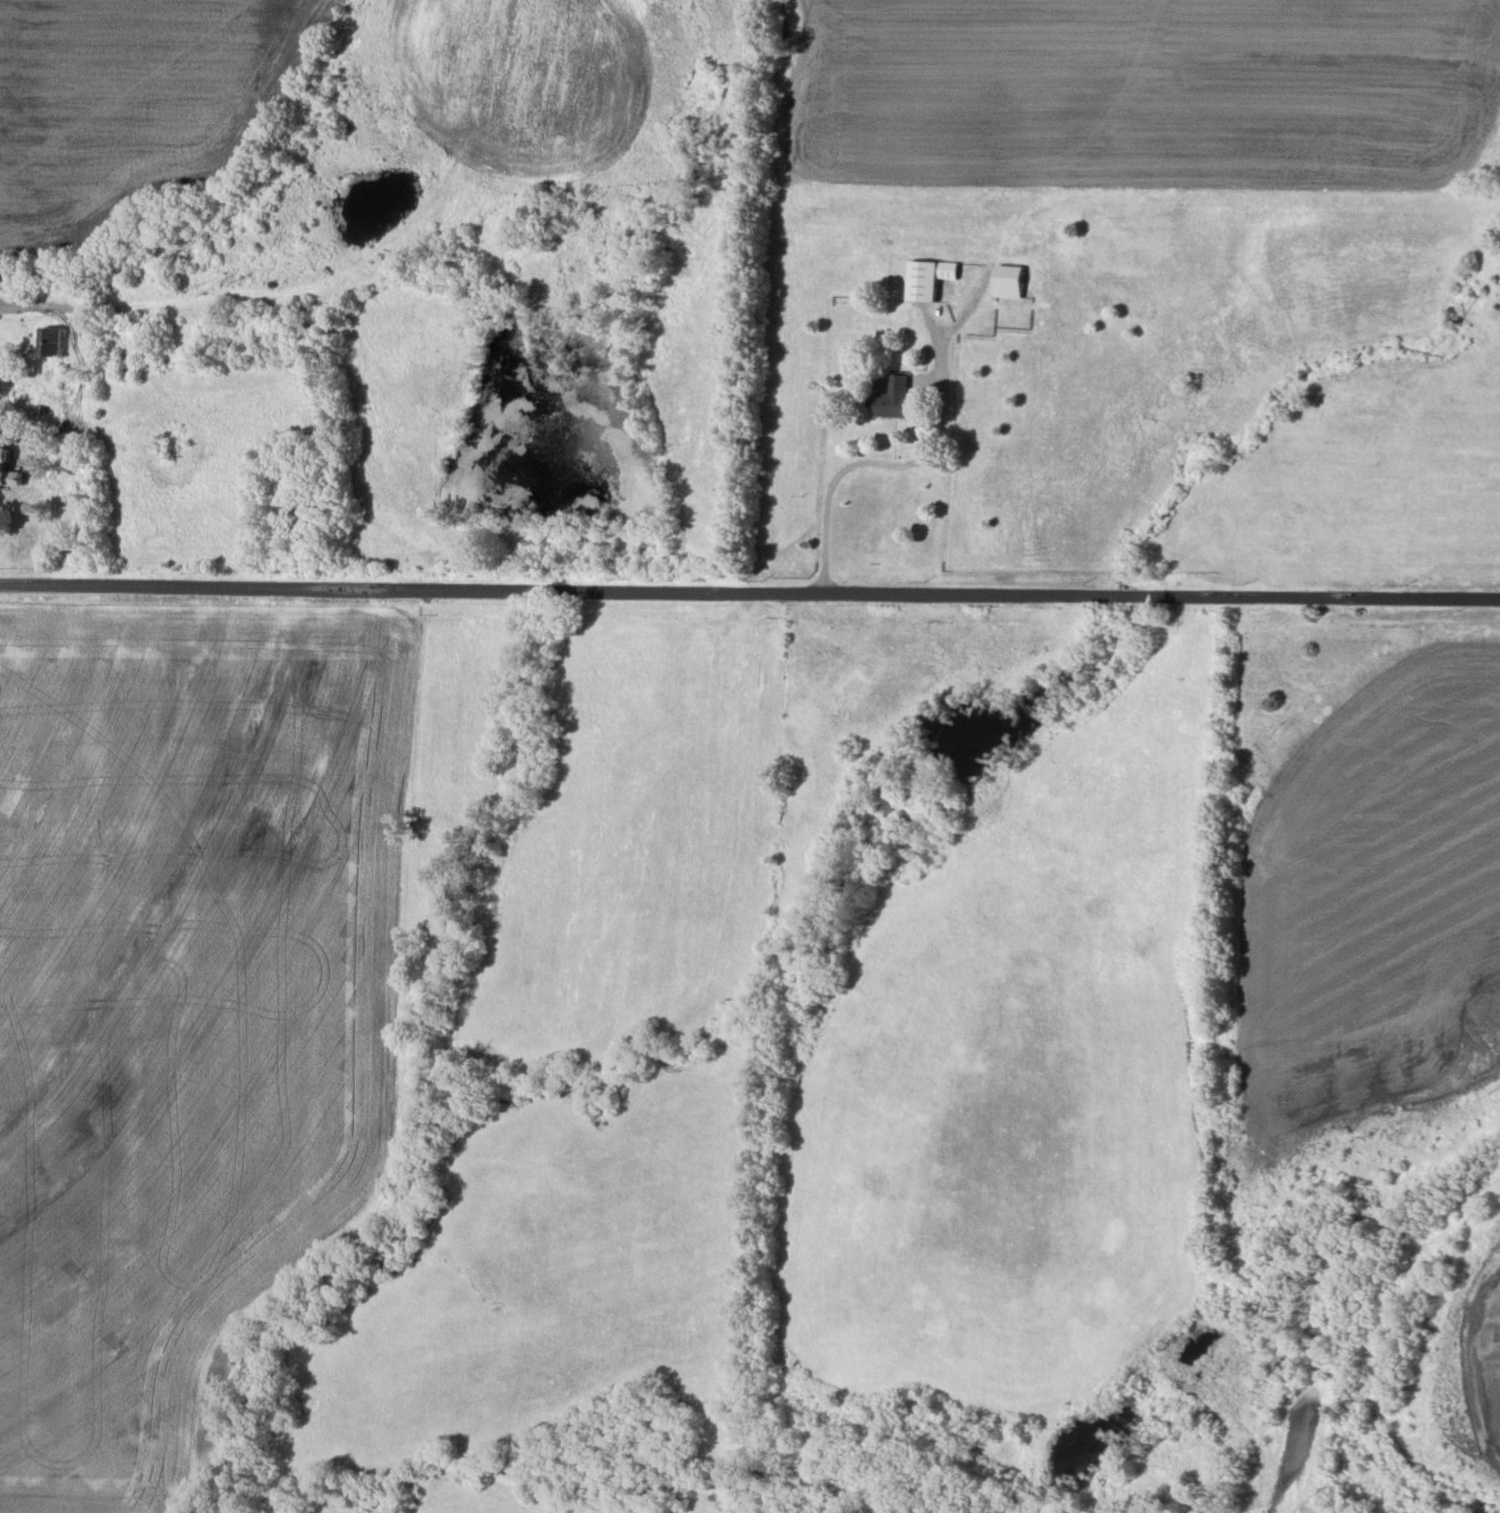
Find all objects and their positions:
crop: (126, 93)
road: (1153, 197)
building: (58, 273)
road: (335, 277)
building: (929, 278)
building: (1010, 281)
silo: (0, 282)
crop: (1164, 287)
building: (51, 341)
building: (129, 365)
road: (21, 376)
road: (925, 383)
building: (893, 399)
building: (20, 435)
road: (901, 465)
building: (1, 466)
building: (306, 512)
road: (749, 596)
crop: (719, 790)
crop: (204, 981)
crop: (1178, 1064)
crop: (558, 1273)
crop: (707, 1495)
crop: (492, 1500)
crop: (335, 1509)

